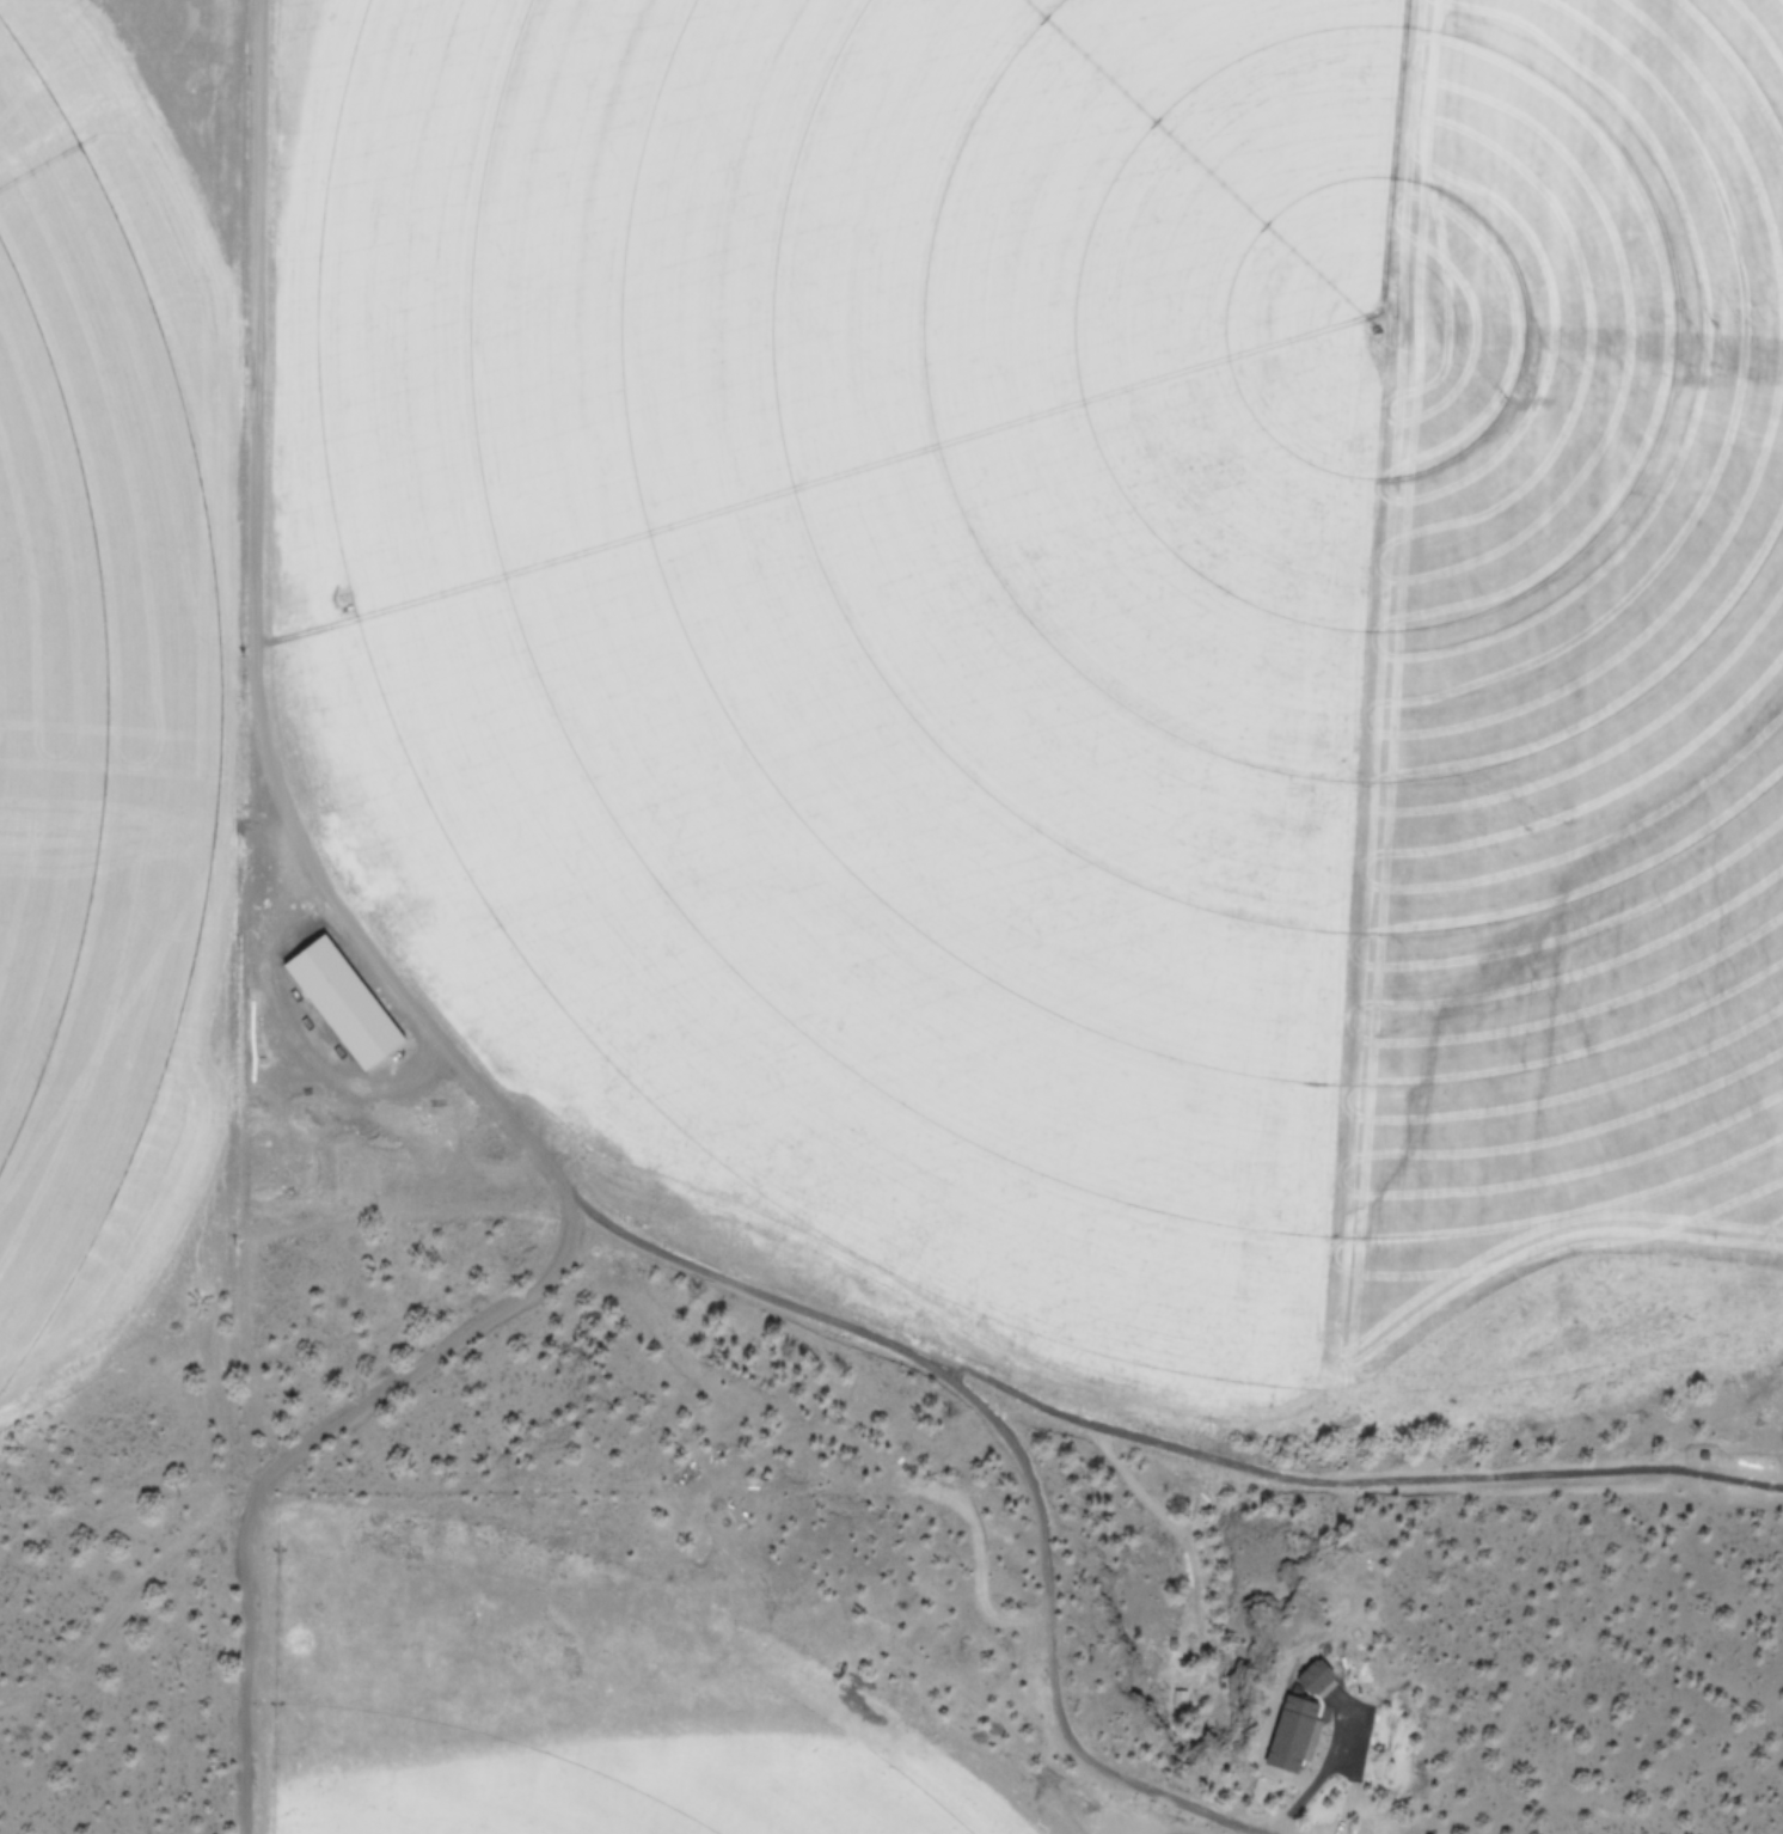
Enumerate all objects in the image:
crop: (875, 851)
building: (347, 999)
building: (1318, 1676)
building: (1295, 1732)

